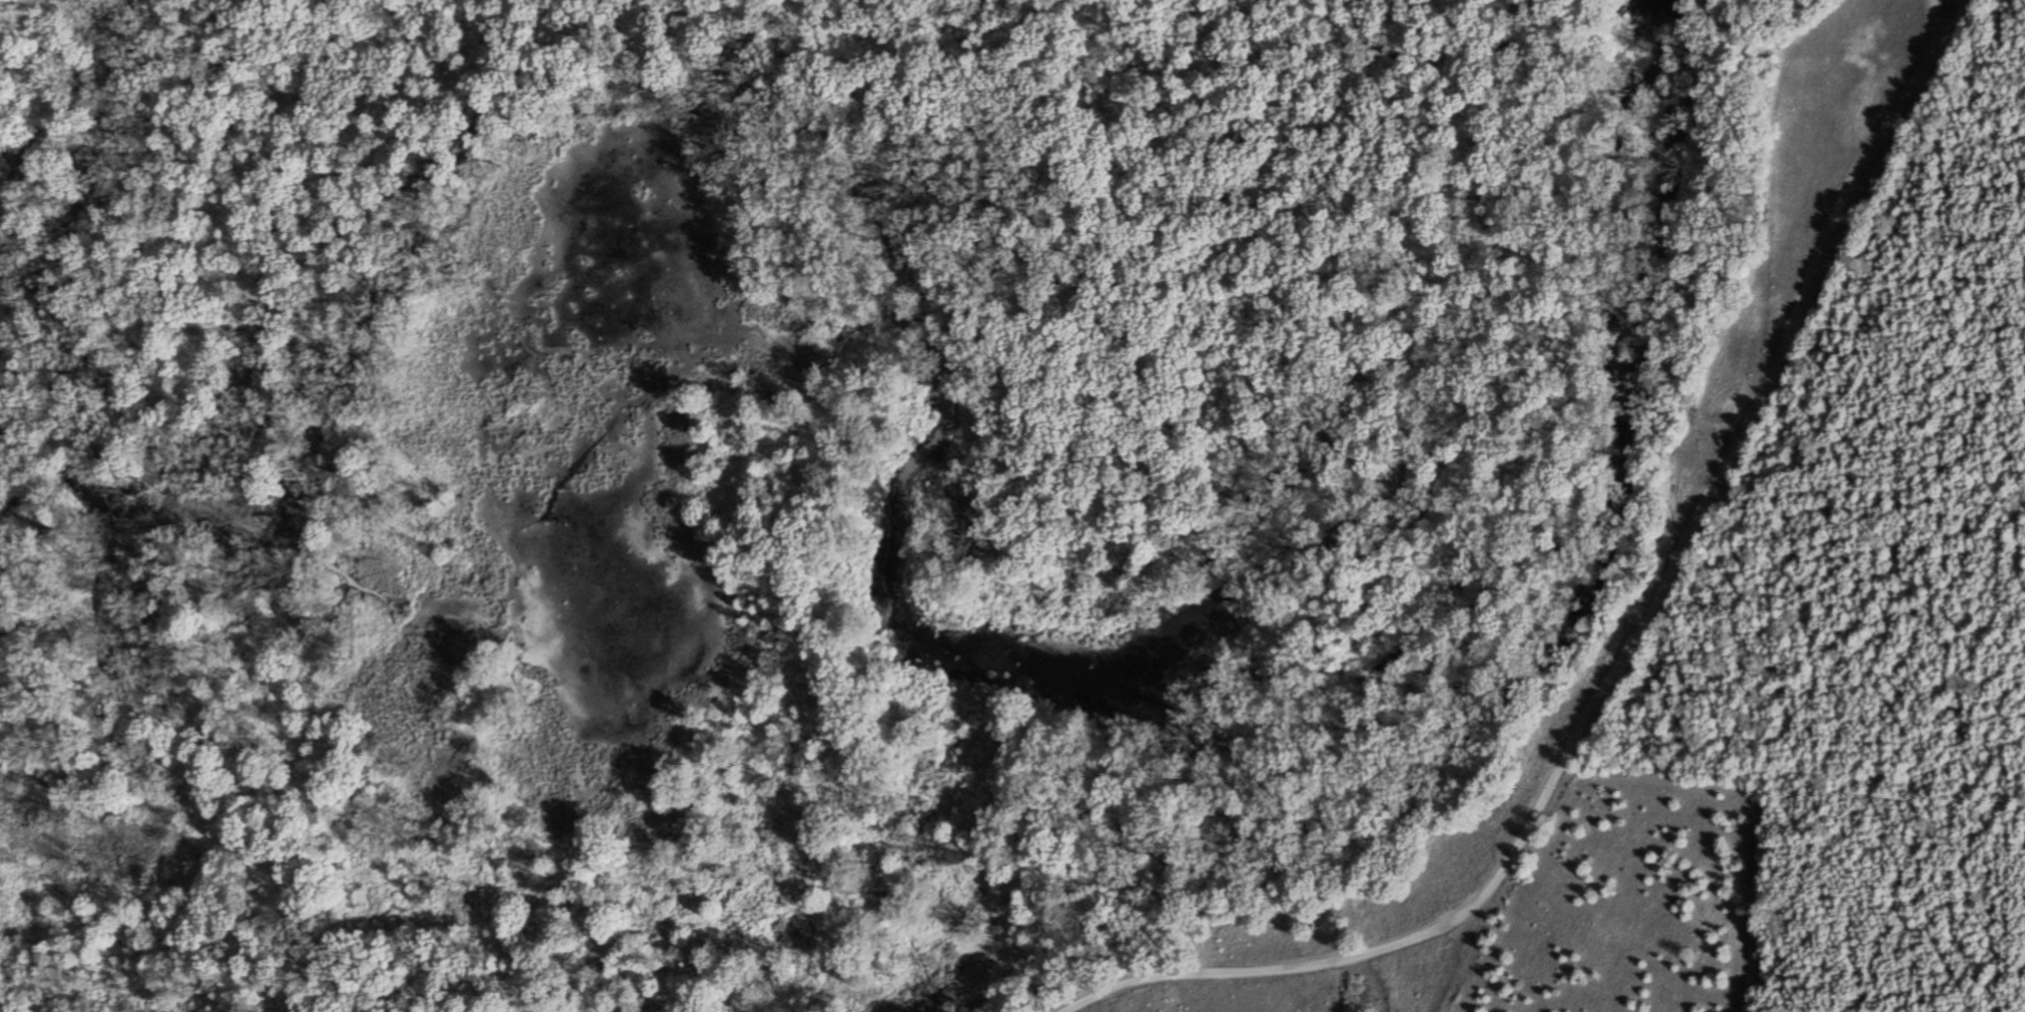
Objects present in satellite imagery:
road: (1938, 23)
road: (1675, 225)
road: (1627, 646)

